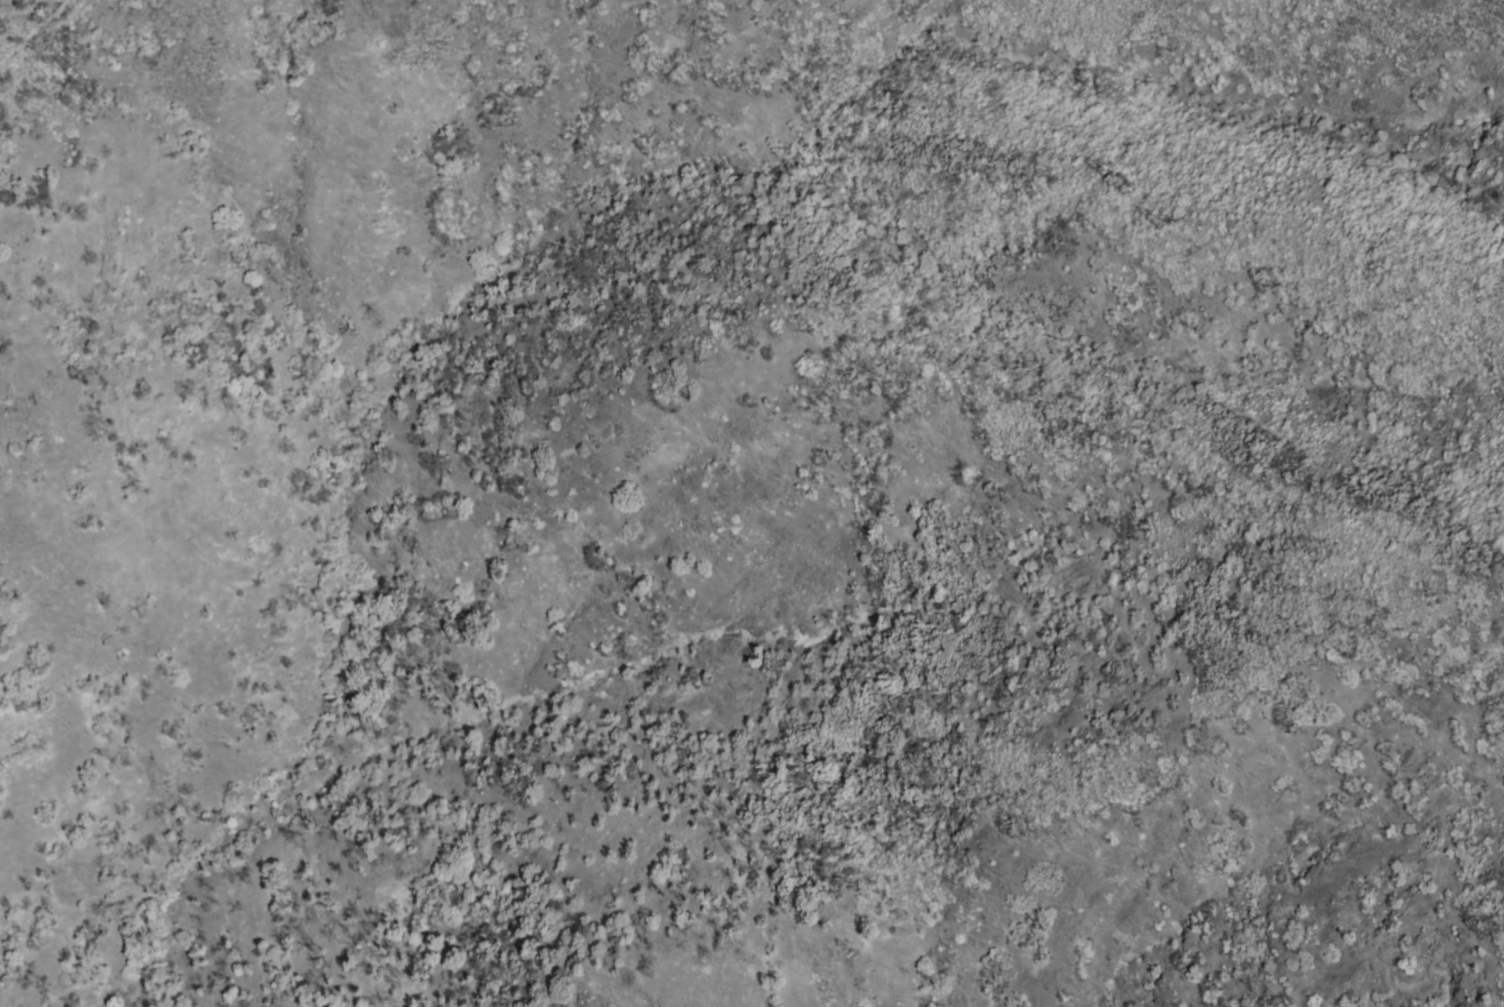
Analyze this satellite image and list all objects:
road: (326, 660)

